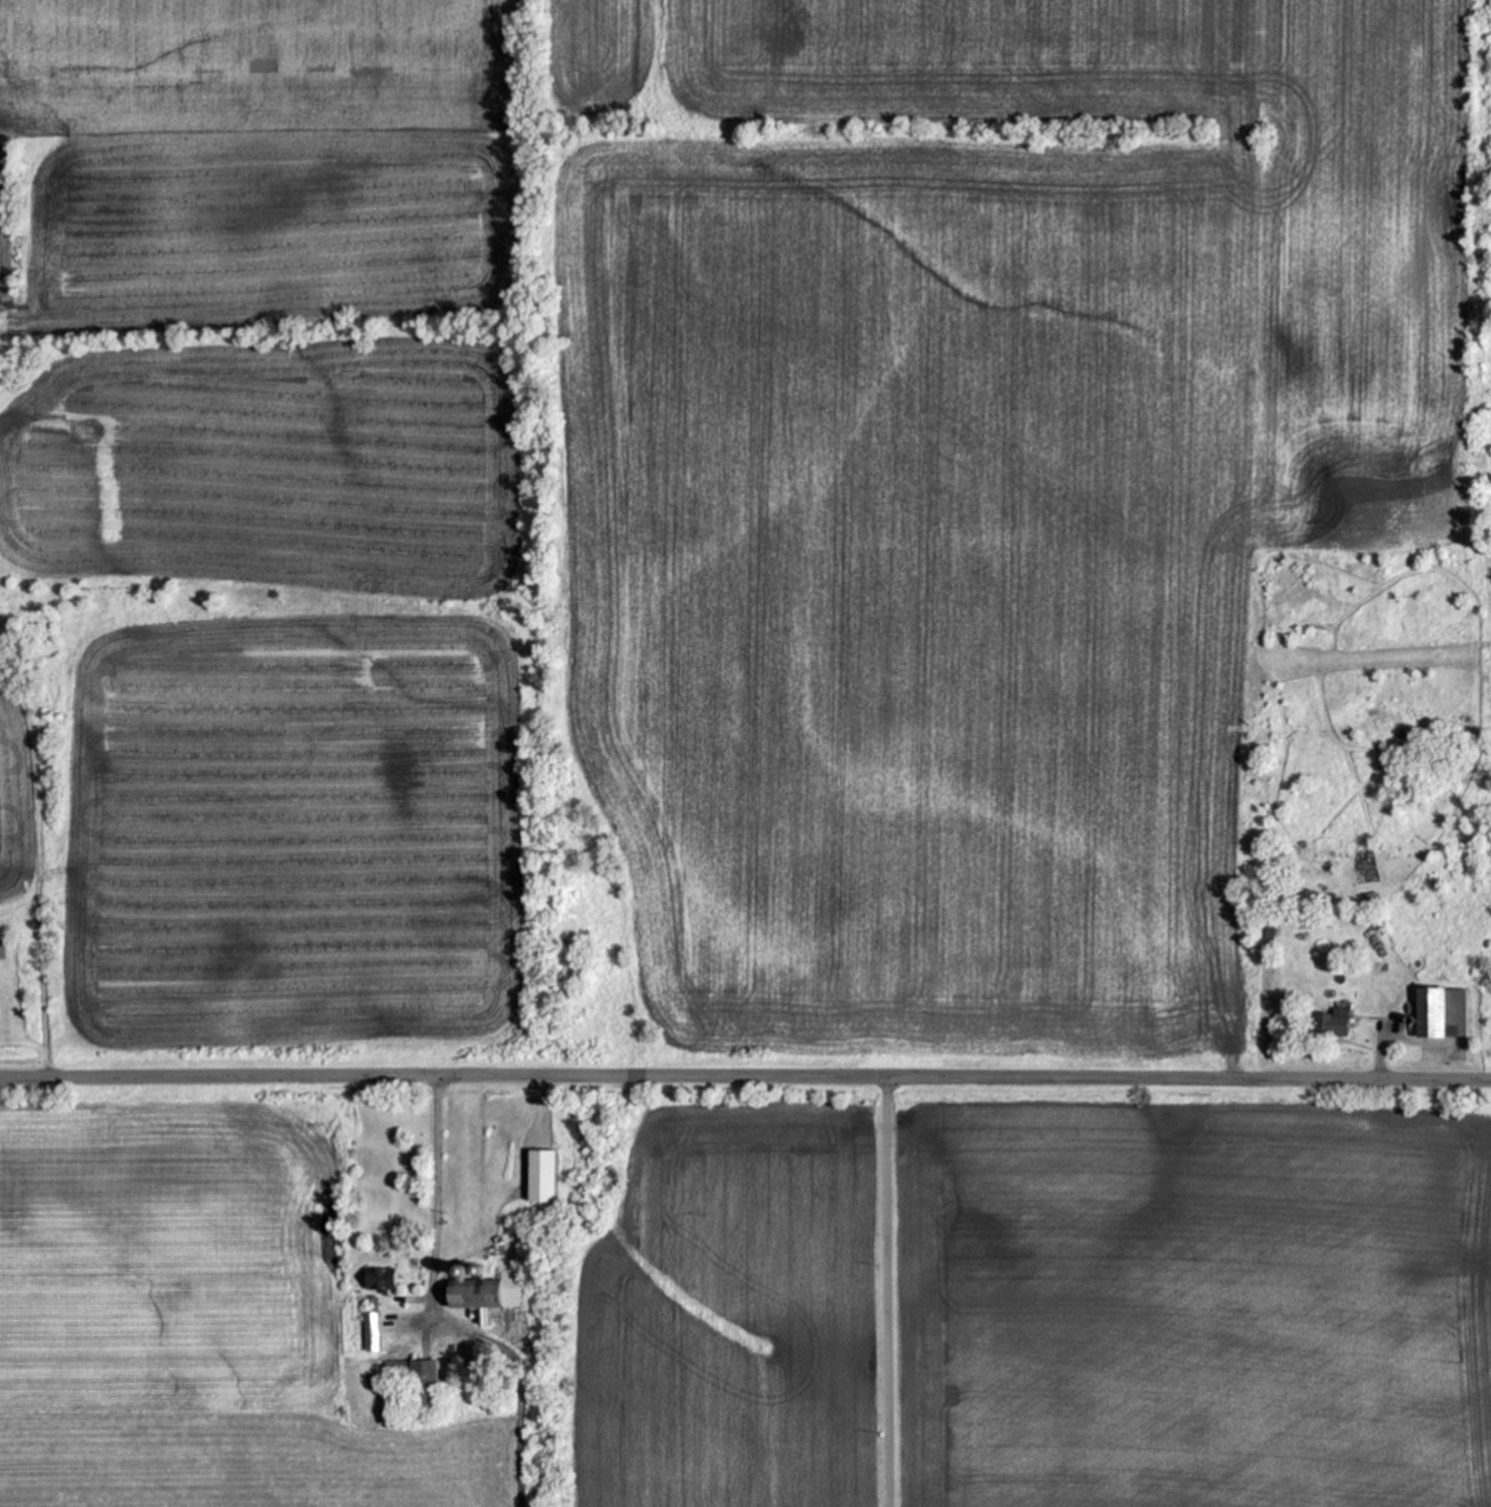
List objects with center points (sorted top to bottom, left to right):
building: (1303, 842)
building: (1375, 898)
building: (1367, 900)
building: (50, 902)
building: (1271, 931)
building: (1342, 1005)
building: (1438, 1012)
building: (1410, 1020)
building: (1336, 1023)
road: (745, 1077)
building: (545, 1176)
road: (433, 1199)
building: (388, 1253)
building: (479, 1270)
building: (467, 1271)
building: (382, 1279)
road: (884, 1292)
building: (489, 1293)
building: (372, 1326)
building: (489, 1357)
building: (451, 1368)
building: (481, 1371)
building: (416, 1380)

